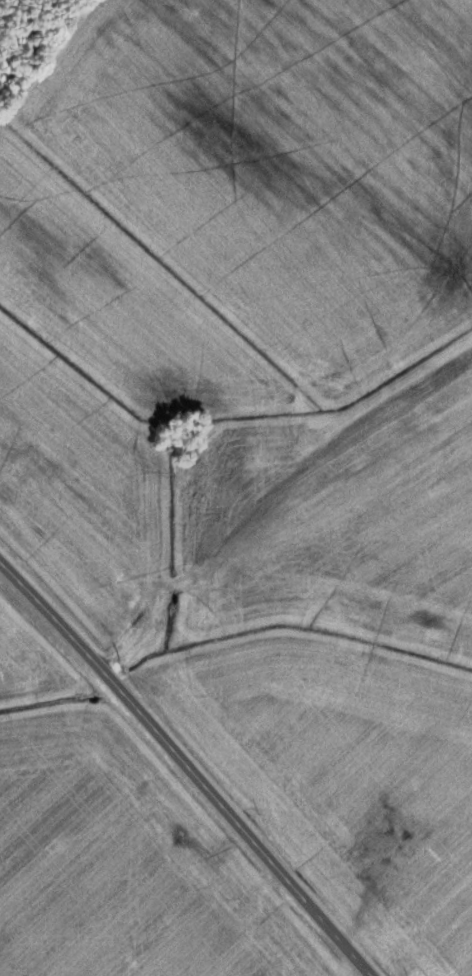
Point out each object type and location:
road: (266, 468)
road: (186, 767)

